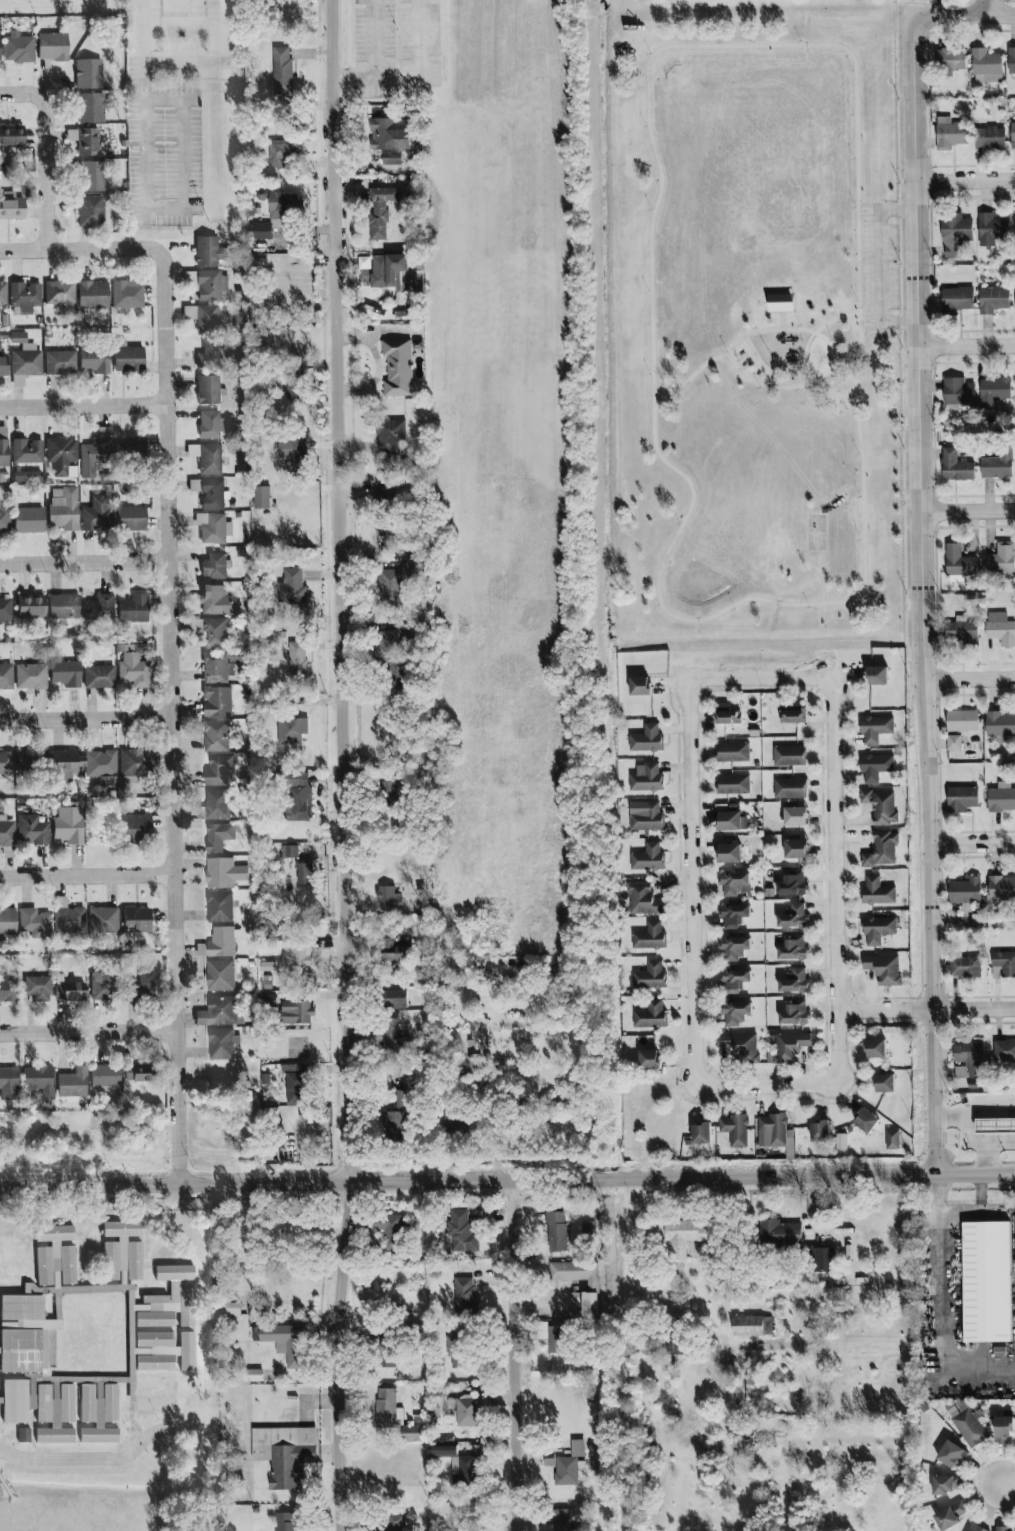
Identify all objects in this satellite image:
road: (988, 6)
road: (960, 13)
road: (221, 32)
road: (669, 45)
building: (0, 47)
building: (53, 47)
building: (19, 50)
building: (1011, 60)
road: (373, 61)
building: (949, 61)
road: (418, 62)
road: (182, 64)
building: (986, 66)
building: (282, 70)
building: (88, 74)
road: (143, 106)
building: (91, 108)
building: (951, 133)
building: (1013, 134)
building: (990, 137)
building: (11, 138)
building: (391, 138)
building: (85, 141)
road: (48, 153)
building: (282, 154)
road: (183, 156)
road: (966, 179)
building: (11, 210)
building: (90, 210)
building: (380, 210)
road: (868, 211)
building: (277, 213)
building: (991, 228)
building: (954, 233)
road: (66, 250)
building: (209, 251)
road: (879, 263)
parking lot: (877, 265)
building: (387, 268)
building: (416, 280)
building: (210, 285)
building: (3, 293)
building: (59, 293)
building: (93, 295)
building: (127, 295)
building: (25, 296)
building: (957, 298)
building: (993, 299)
building: (780, 301)
building: (203, 318)
road: (781, 319)
park: (757, 335)
road: (966, 346)
road: (805, 353)
building: (209, 356)
building: (128, 358)
building: (93, 362)
building: (24, 363)
building: (60, 363)
building: (3, 365)
building: (397, 367)
road: (689, 378)
road: (767, 385)
building: (294, 388)
building: (207, 390)
building: (958, 391)
building: (994, 393)
road: (85, 406)
building: (210, 424)
building: (390, 435)
building: (135, 444)
building: (3, 447)
building: (26, 452)
building: (95, 453)
building: (293, 453)
building: (62, 457)
building: (207, 458)
building: (956, 465)
building: (997, 465)
building: (27, 476)
building: (209, 492)
building: (384, 493)
building: (261, 496)
building: (63, 508)
road: (968, 511)
building: (96, 515)
building: (4, 517)
building: (130, 518)
building: (28, 520)
building: (213, 527)
building: (385, 530)
park: (816, 531)
building: (1000, 558)
road: (86, 562)
building: (958, 563)
building: (214, 565)
building: (414, 566)
road: (822, 582)
building: (291, 585)
building: (390, 587)
building: (215, 600)
road: (923, 601)
building: (31, 607)
building: (63, 607)
building: (99, 608)
building: (5, 609)
building: (133, 609)
building: (1000, 628)
building: (214, 633)
building: (963, 634)
building: (388, 642)
building: (297, 661)
building: (216, 667)
building: (133, 670)
building: (65, 674)
building: (398, 674)
building: (877, 675)
building: (31, 676)
building: (6, 677)
building: (99, 677)
road: (970, 678)
road: (760, 679)
building: (640, 685)
building: (217, 701)
road: (173, 703)
building: (792, 712)
building: (726, 713)
road: (87, 719)
building: (962, 720)
building: (1000, 725)
building: (875, 728)
building: (292, 729)
building: (216, 735)
building: (646, 738)
building: (953, 742)
building: (733, 751)
building: (788, 755)
building: (7, 763)
building: (134, 763)
building: (65, 765)
building: (101, 765)
road: (346, 765)
building: (875, 766)
building: (219, 768)
building: (646, 777)
building: (733, 784)
building: (789, 787)
building: (393, 790)
building: (299, 797)
building: (961, 798)
building: (1001, 798)
building: (216, 804)
building: (880, 805)
building: (645, 815)
building: (795, 816)
building: (732, 821)
building: (68, 825)
building: (136, 828)
building: (32, 831)
building: (7, 832)
building: (217, 836)
road: (973, 843)
road: (835, 845)
building: (795, 848)
building: (881, 849)
building: (289, 851)
building: (732, 852)
building: (648, 856)
building: (223, 872)
building: (304, 872)
road: (88, 877)
building: (733, 883)
building: (792, 883)
building: (1002, 888)
building: (877, 890)
building: (965, 890)
building: (387, 896)
building: (643, 899)
building: (219, 906)
building: (733, 915)
building: (793, 916)
building: (67, 917)
building: (103, 920)
building: (135, 920)
building: (8, 921)
building: (35, 923)
building: (877, 929)
building: (649, 935)
building: (218, 943)
building: (734, 946)
building: (793, 949)
building: (396, 950)
building: (296, 953)
building: (1004, 962)
building: (965, 966)
building: (884, 969)
building: (220, 975)
building: (650, 975)
building: (735, 979)
building: (794, 981)
building: (141, 987)
building: (38, 988)
building: (104, 988)
road: (693, 989)
building: (8, 991)
building: (69, 991)
building: (396, 997)
road: (975, 1010)
road: (885, 1011)
building: (296, 1012)
building: (735, 1012)
building: (794, 1013)
building: (650, 1014)
road: (89, 1031)
building: (478, 1033)
building: (393, 1035)
building: (739, 1042)
building: (221, 1043)
building: (788, 1047)
building: (875, 1048)
building: (1003, 1051)
building: (649, 1058)
building: (968, 1059)
building: (138, 1072)
building: (104, 1077)
building: (38, 1082)
building: (884, 1082)
building: (8, 1084)
building: (72, 1084)
building: (295, 1088)
road: (987, 1105)
building: (396, 1119)
building: (866, 1120)
building: (458, 1123)
building: (995, 1126)
building: (734, 1129)
building: (771, 1130)
building: (820, 1131)
building: (701, 1133)
road: (970, 1136)
building: (892, 1139)
road: (983, 1159)
road: (507, 1181)
road: (976, 1214)
road: (719, 1222)
building: (589, 1227)
building: (556, 1230)
building: (391, 1231)
building: (461, 1231)
building: (779, 1233)
building: (684, 1235)
building: (127, 1246)
building: (55, 1255)
building: (818, 1256)
building: (110, 1261)
building: (574, 1272)
building: (986, 1281)
building: (465, 1295)
building: (167, 1298)
road: (209, 1302)
building: (586, 1302)
road: (942, 1306)
building: (231, 1308)
building: (155, 1319)
building: (751, 1325)
building: (25, 1334)
building: (550, 1336)
building: (284, 1341)
building: (171, 1346)
building: (459, 1349)
road: (520, 1355)
building: (155, 1362)
building: (253, 1375)
building: (753, 1395)
building: (25, 1402)
building: (469, 1406)
building: (98, 1414)
building: (392, 1414)
building: (60, 1420)
building: (968, 1426)
building: (1003, 1429)
building: (24, 1436)
building: (284, 1453)
building: (951, 1454)
road: (109, 1460)
building: (458, 1464)
building: (569, 1464)
building: (944, 1484)
road: (1003, 1490)
building: (951, 1515)
building: (558, 1519)
building: (286, 1521)
building: (390, 1522)
building: (974, 1527)
building: (1002, 1528)

